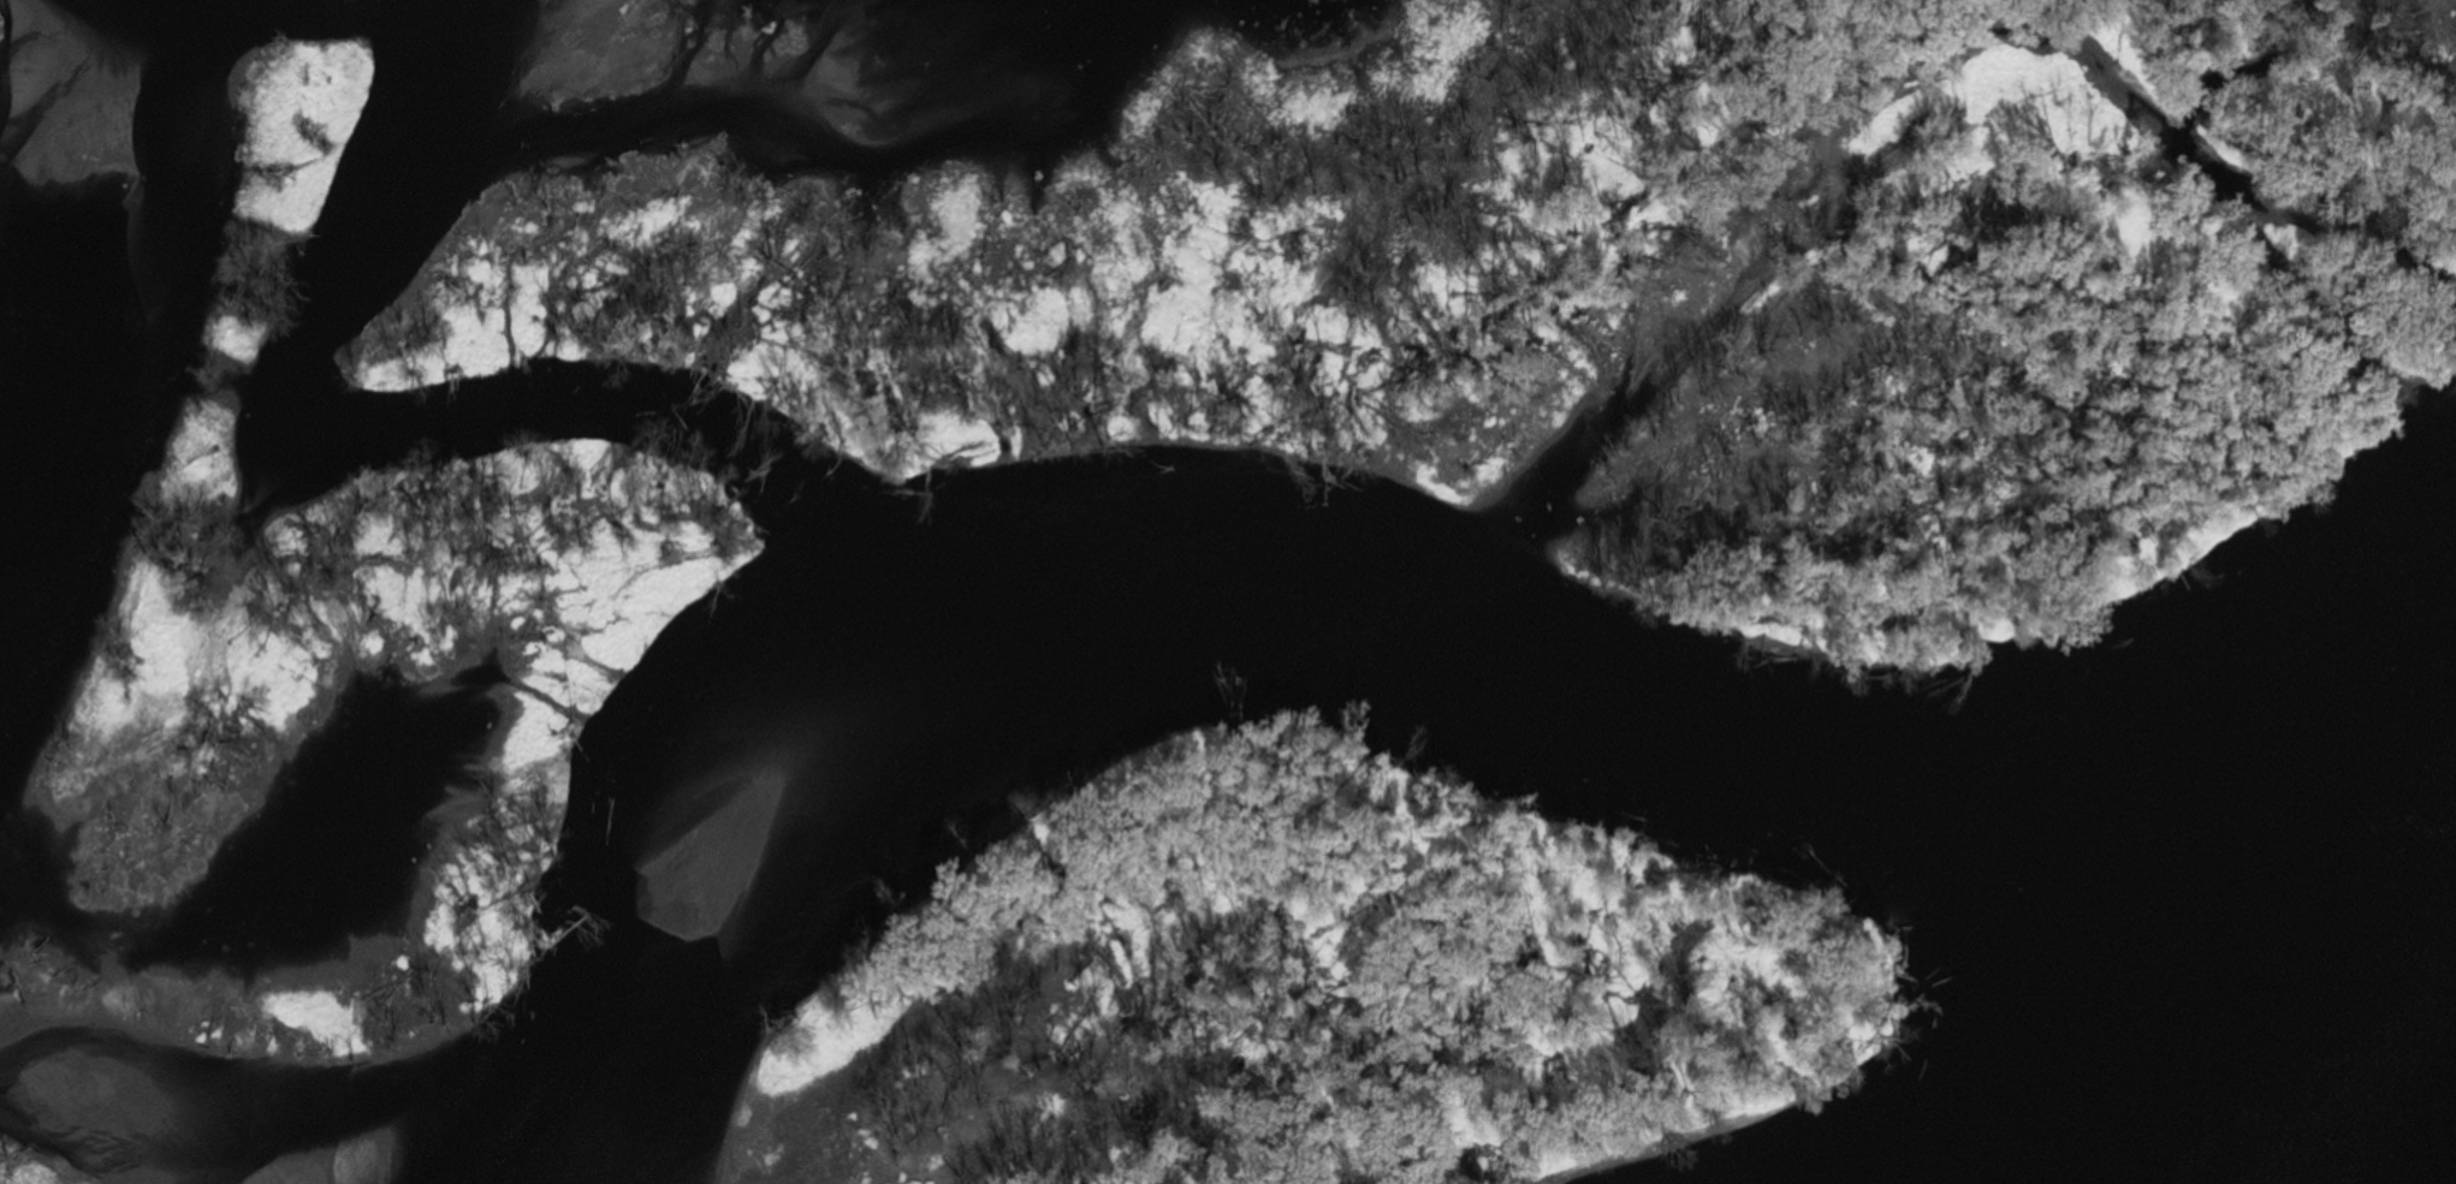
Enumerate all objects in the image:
river: (2278, 1084)

